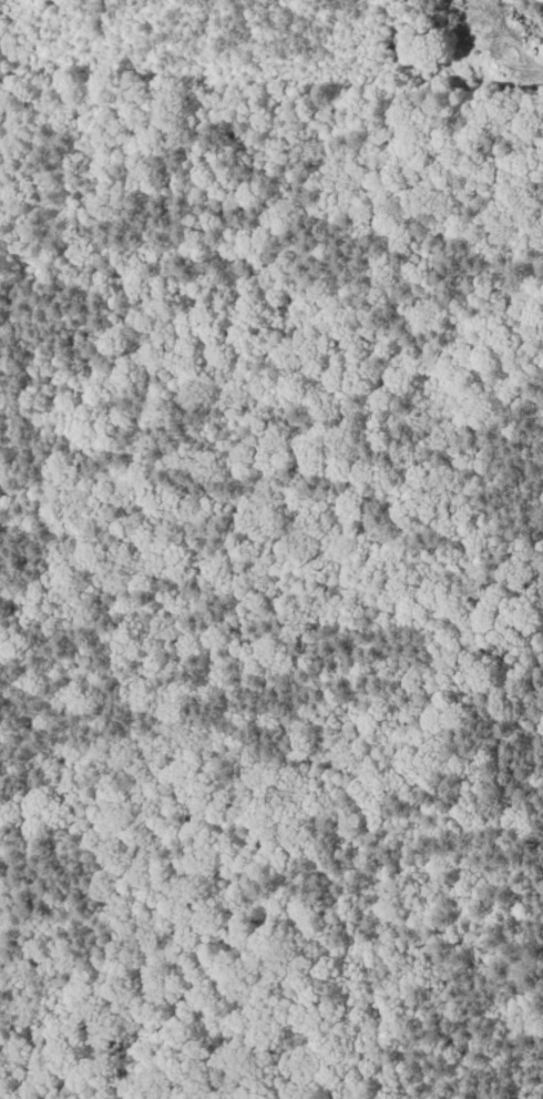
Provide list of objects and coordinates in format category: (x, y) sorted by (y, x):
road: (464, 14)

